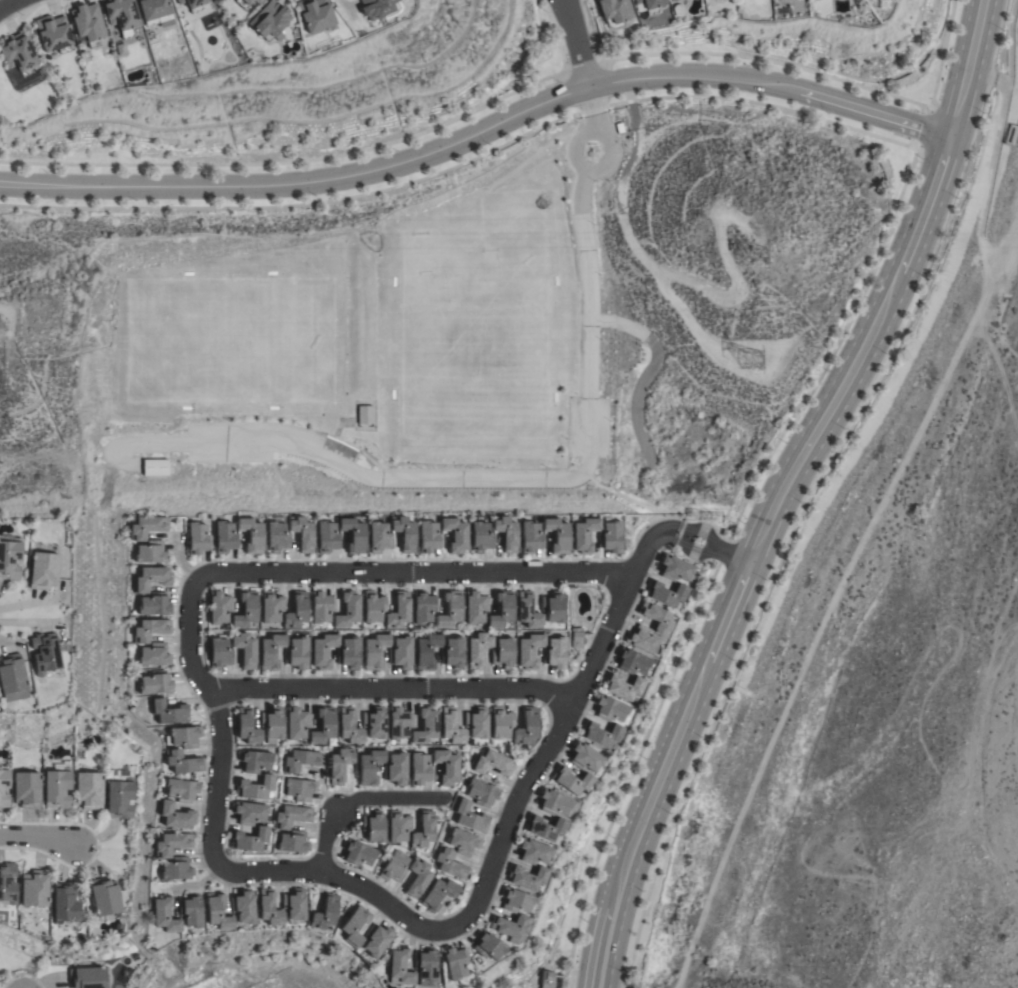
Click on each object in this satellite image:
building: (671, 0)
building: (781, 0)
building: (258, 1)
road: (6, 3)
building: (242, 3)
building: (192, 4)
building: (648, 5)
building: (379, 8)
building: (614, 11)
building: (155, 12)
building: (315, 14)
building: (121, 15)
building: (270, 20)
building: (87, 24)
building: (52, 34)
road: (578, 43)
building: (17, 55)
road: (940, 56)
road: (768, 64)
road: (966, 68)
road: (997, 80)
road: (591, 109)
road: (868, 112)
road: (999, 119)
road: (605, 140)
road: (401, 162)
road: (898, 199)
road: (922, 212)
road: (1004, 250)
power tower: (756, 254)
power tower: (753, 360)
building: (363, 415)
road: (818, 425)
road: (499, 480)
road: (812, 492)
building: (148, 527)
road: (691, 530)
building: (302, 533)
building: (405, 533)
building: (507, 533)
building: (251, 534)
building: (353, 534)
building: (455, 534)
building: (585, 534)
road: (683, 534)
building: (277, 535)
building: (558, 535)
building: (610, 536)
building: (225, 537)
building: (327, 537)
building: (379, 537)
building: (429, 537)
building: (481, 537)
building: (531, 537)
building: (198, 538)
road: (687, 545)
building: (152, 552)
road: (722, 552)
road: (641, 553)
building: (9, 556)
road: (731, 556)
building: (43, 567)
building: (675, 569)
road: (351, 572)
building: (152, 578)
building: (666, 593)
building: (154, 604)
building: (219, 607)
building: (271, 607)
building: (321, 607)
building: (373, 607)
building: (475, 607)
building: (553, 607)
building: (423, 608)
building: (502, 609)
building: (245, 610)
building: (347, 610)
building: (449, 610)
building: (296, 611)
building: (399, 611)
building: (528, 611)
building: (656, 618)
road: (722, 623)
building: (150, 629)
building: (576, 638)
building: (642, 639)
building: (244, 649)
building: (478, 649)
building: (323, 650)
building: (374, 650)
building: (427, 650)
building: (529, 650)
building: (270, 651)
building: (44, 653)
building: (219, 653)
building: (297, 653)
building: (349, 653)
building: (401, 653)
building: (453, 653)
building: (503, 653)
building: (555, 653)
road: (806, 654)
building: (155, 655)
building: (632, 662)
building: (11, 678)
building: (156, 683)
building: (623, 686)
road: (392, 688)
building: (610, 709)
building: (170, 712)
building: (476, 722)
building: (501, 722)
building: (296, 723)
building: (374, 723)
building: (399, 723)
building: (272, 724)
building: (323, 726)
building: (349, 726)
building: (246, 727)
building: (424, 727)
building: (451, 727)
building: (526, 728)
building: (601, 734)
building: (184, 736)
building: (585, 758)
building: (300, 760)
building: (255, 761)
building: (183, 762)
building: (491, 763)
building: (339, 765)
building: (369, 766)
building: (446, 766)
building: (395, 768)
building: (419, 769)
road: (631, 772)
building: (571, 780)
building: (4, 785)
road: (653, 785)
building: (255, 787)
building: (57, 788)
building: (27, 789)
building: (299, 789)
building: (88, 790)
building: (182, 790)
building: (481, 792)
building: (119, 793)
road: (355, 799)
building: (554, 803)
building: (249, 813)
building: (176, 815)
building: (291, 816)
building: (470, 817)
building: (373, 826)
building: (398, 826)
building: (545, 827)
building: (423, 830)
building: (249, 839)
road: (37, 841)
building: (292, 842)
building: (463, 842)
building: (172, 844)
building: (533, 852)
building: (358, 853)
building: (450, 864)
building: (394, 867)
building: (177, 869)
building: (417, 877)
building: (527, 877)
road: (717, 877)
building: (7, 883)
building: (33, 888)
building: (438, 894)
building: (104, 897)
building: (515, 900)
building: (65, 902)
building: (293, 906)
building: (243, 907)
building: (268, 908)
building: (191, 911)
building: (217, 911)
building: (324, 913)
building: (165, 915)
building: (354, 926)
building: (511, 928)
road: (430, 931)
road: (601, 939)
building: (376, 940)
building: (488, 946)
building: (455, 962)
building: (399, 967)
building: (426, 967)
building: (87, 977)
building: (549, 980)

